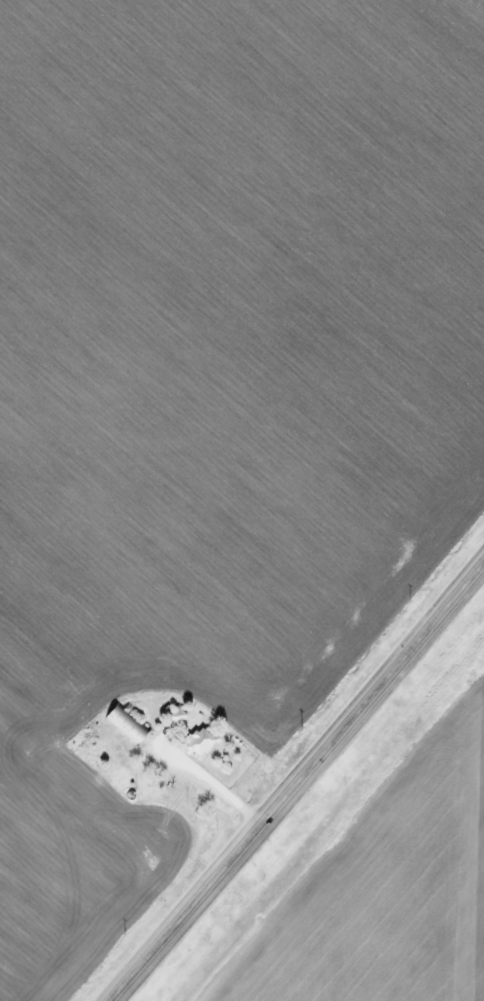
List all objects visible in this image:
building: (123, 723)
building: (197, 742)
road: (297, 780)
railway: (337, 827)

